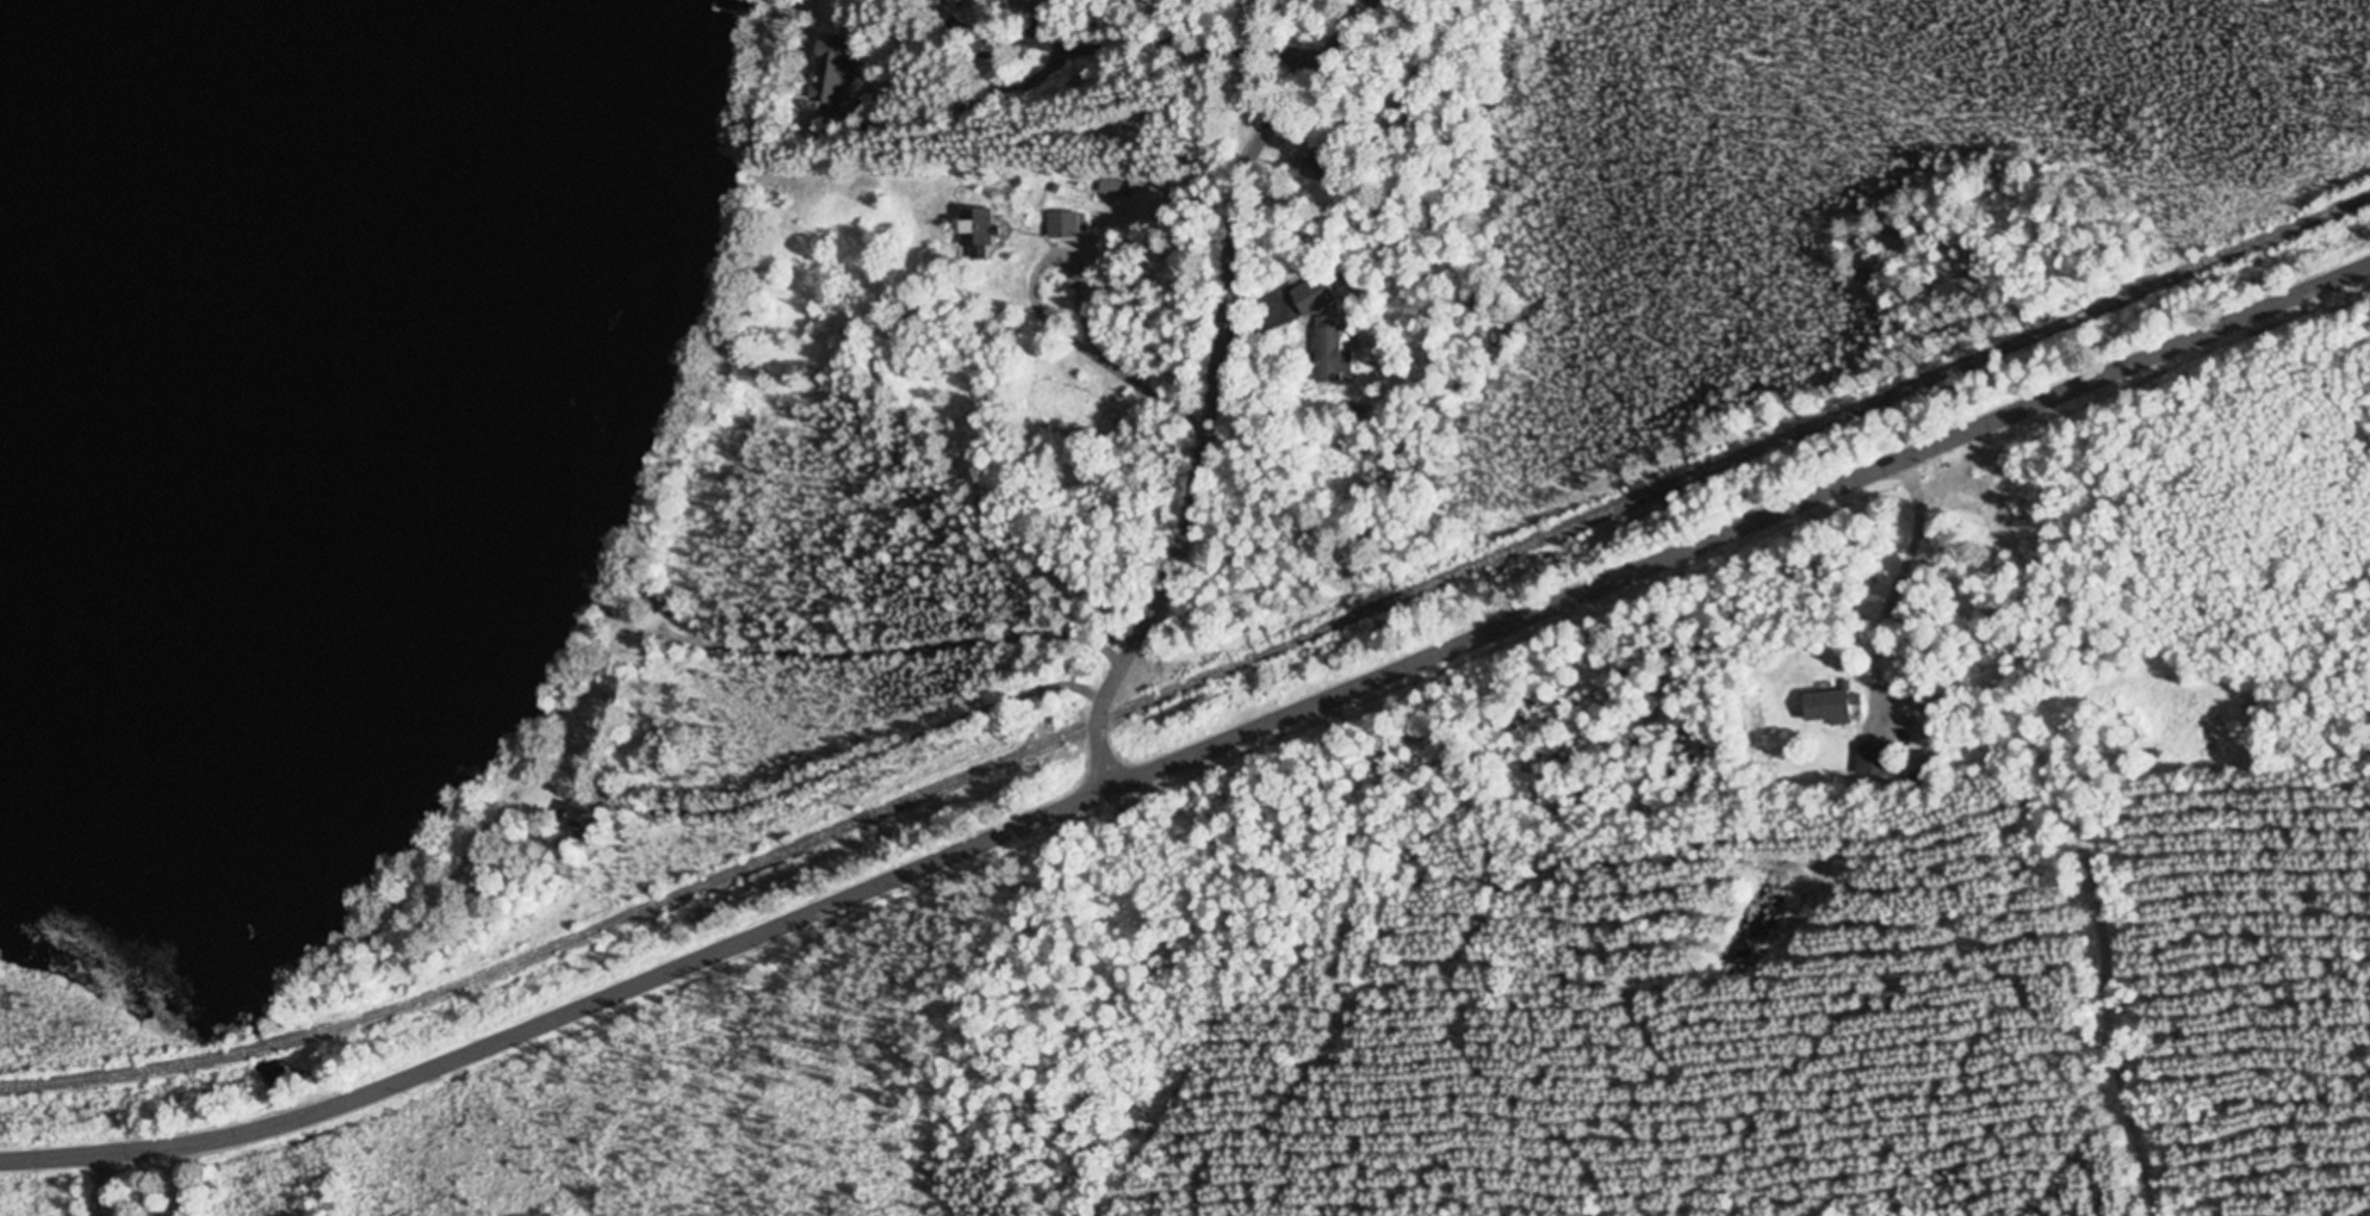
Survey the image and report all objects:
building: (944, 5)
building: (1030, 6)
road: (1239, 29)
building: (1319, 167)
road: (936, 182)
building: (1115, 185)
building: (1061, 227)
building: (973, 232)
building: (1309, 298)
building: (1324, 352)
road: (1210, 408)
road: (917, 683)
railway: (1196, 683)
building: (1828, 707)
road: (1196, 756)
building: (1869, 762)
building: (576, 824)

